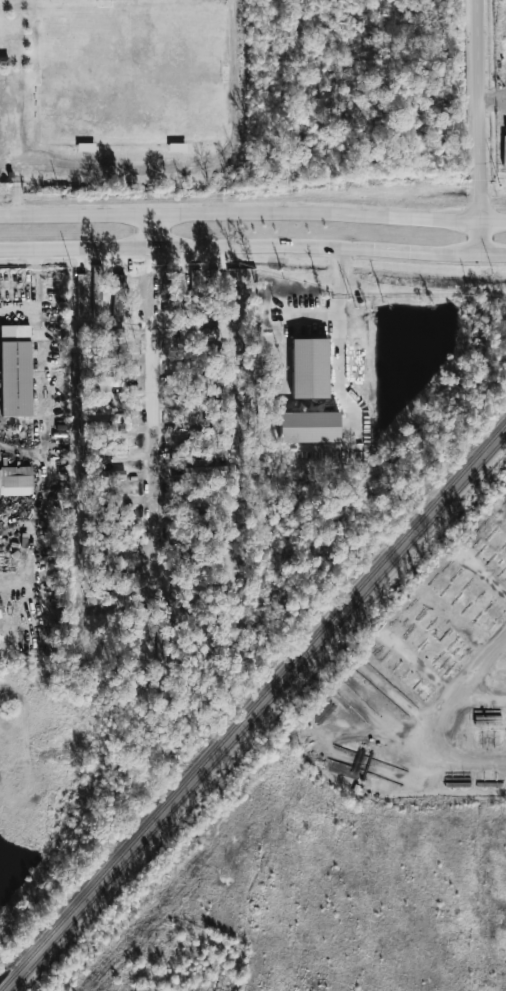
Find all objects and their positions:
park: (12, 1)
park: (94, 1)
park: (127, 77)
road: (9, 127)
road: (480, 128)
road: (99, 172)
road: (17, 183)
road: (253, 210)
road: (150, 227)
road: (253, 246)
building: (96, 288)
road: (31, 291)
building: (81, 296)
building: (118, 298)
road: (312, 318)
road: (340, 335)
building: (310, 368)
building: (17, 369)
building: (104, 381)
road: (152, 410)
building: (310, 427)
building: (108, 474)
building: (16, 481)
road: (505, 637)
road: (440, 683)
railway: (253, 707)
railway: (258, 713)
road: (419, 738)

